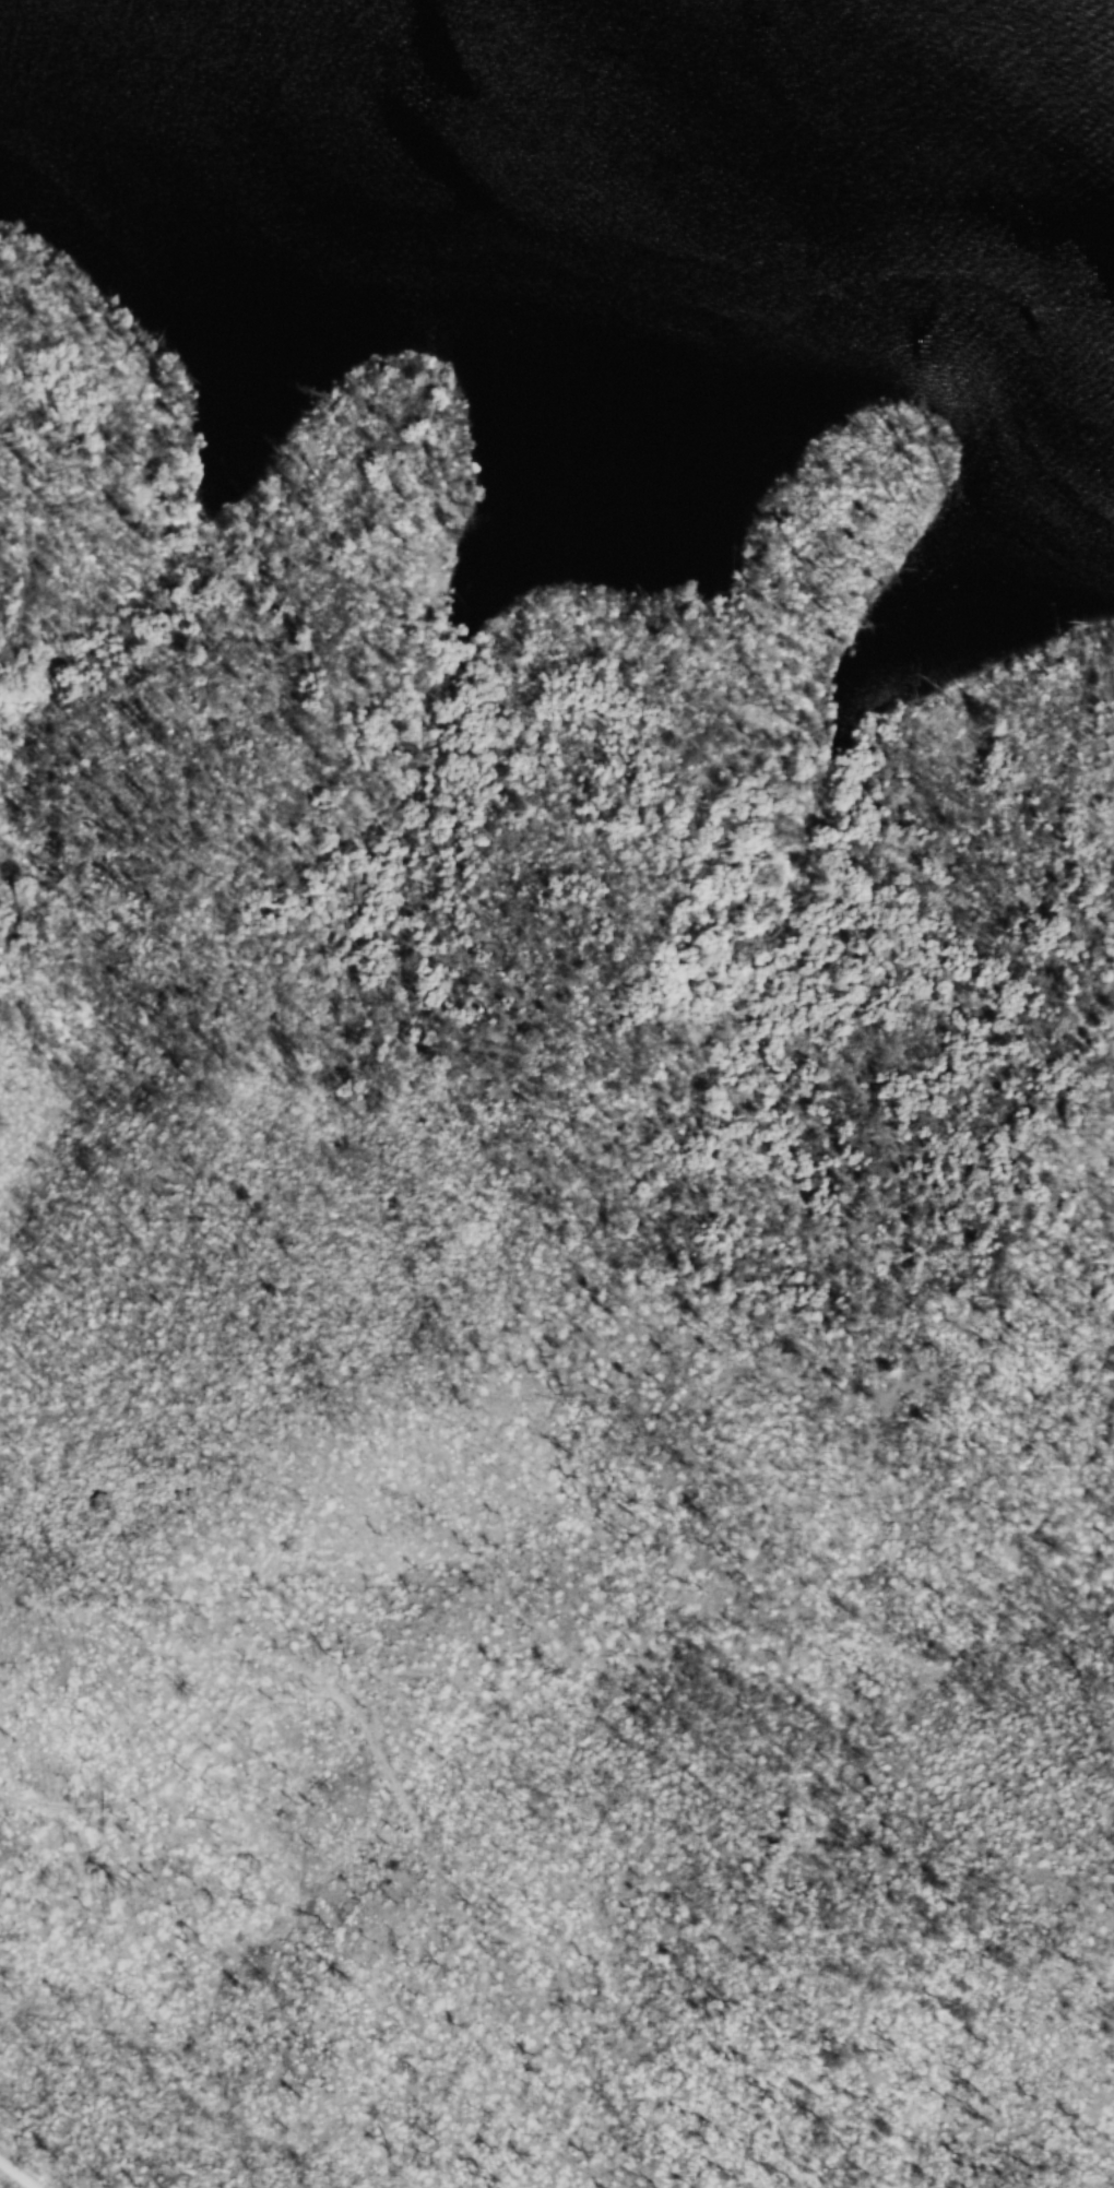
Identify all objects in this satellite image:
road: (16, 2174)

